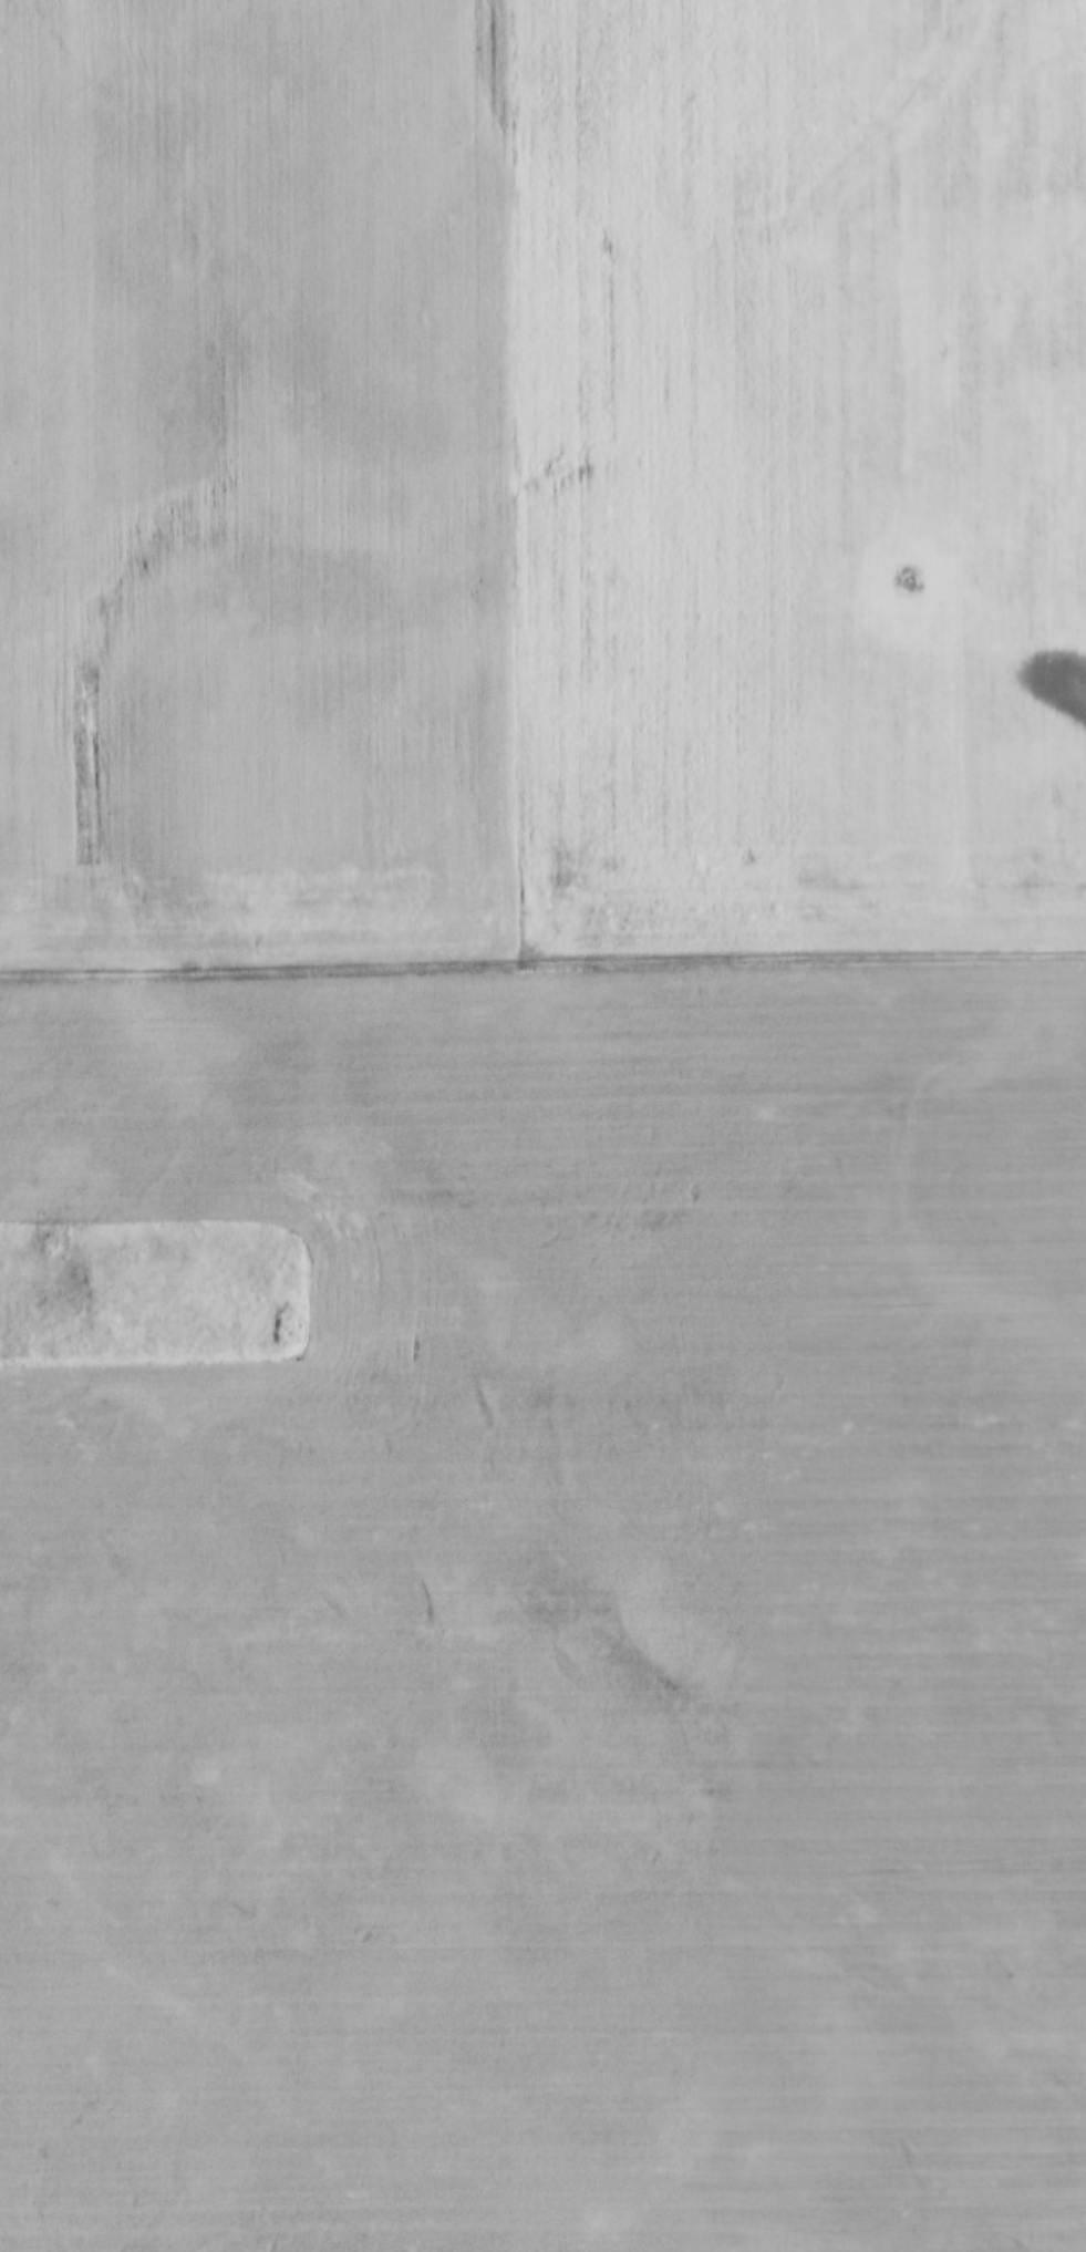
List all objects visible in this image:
road: (542, 958)

